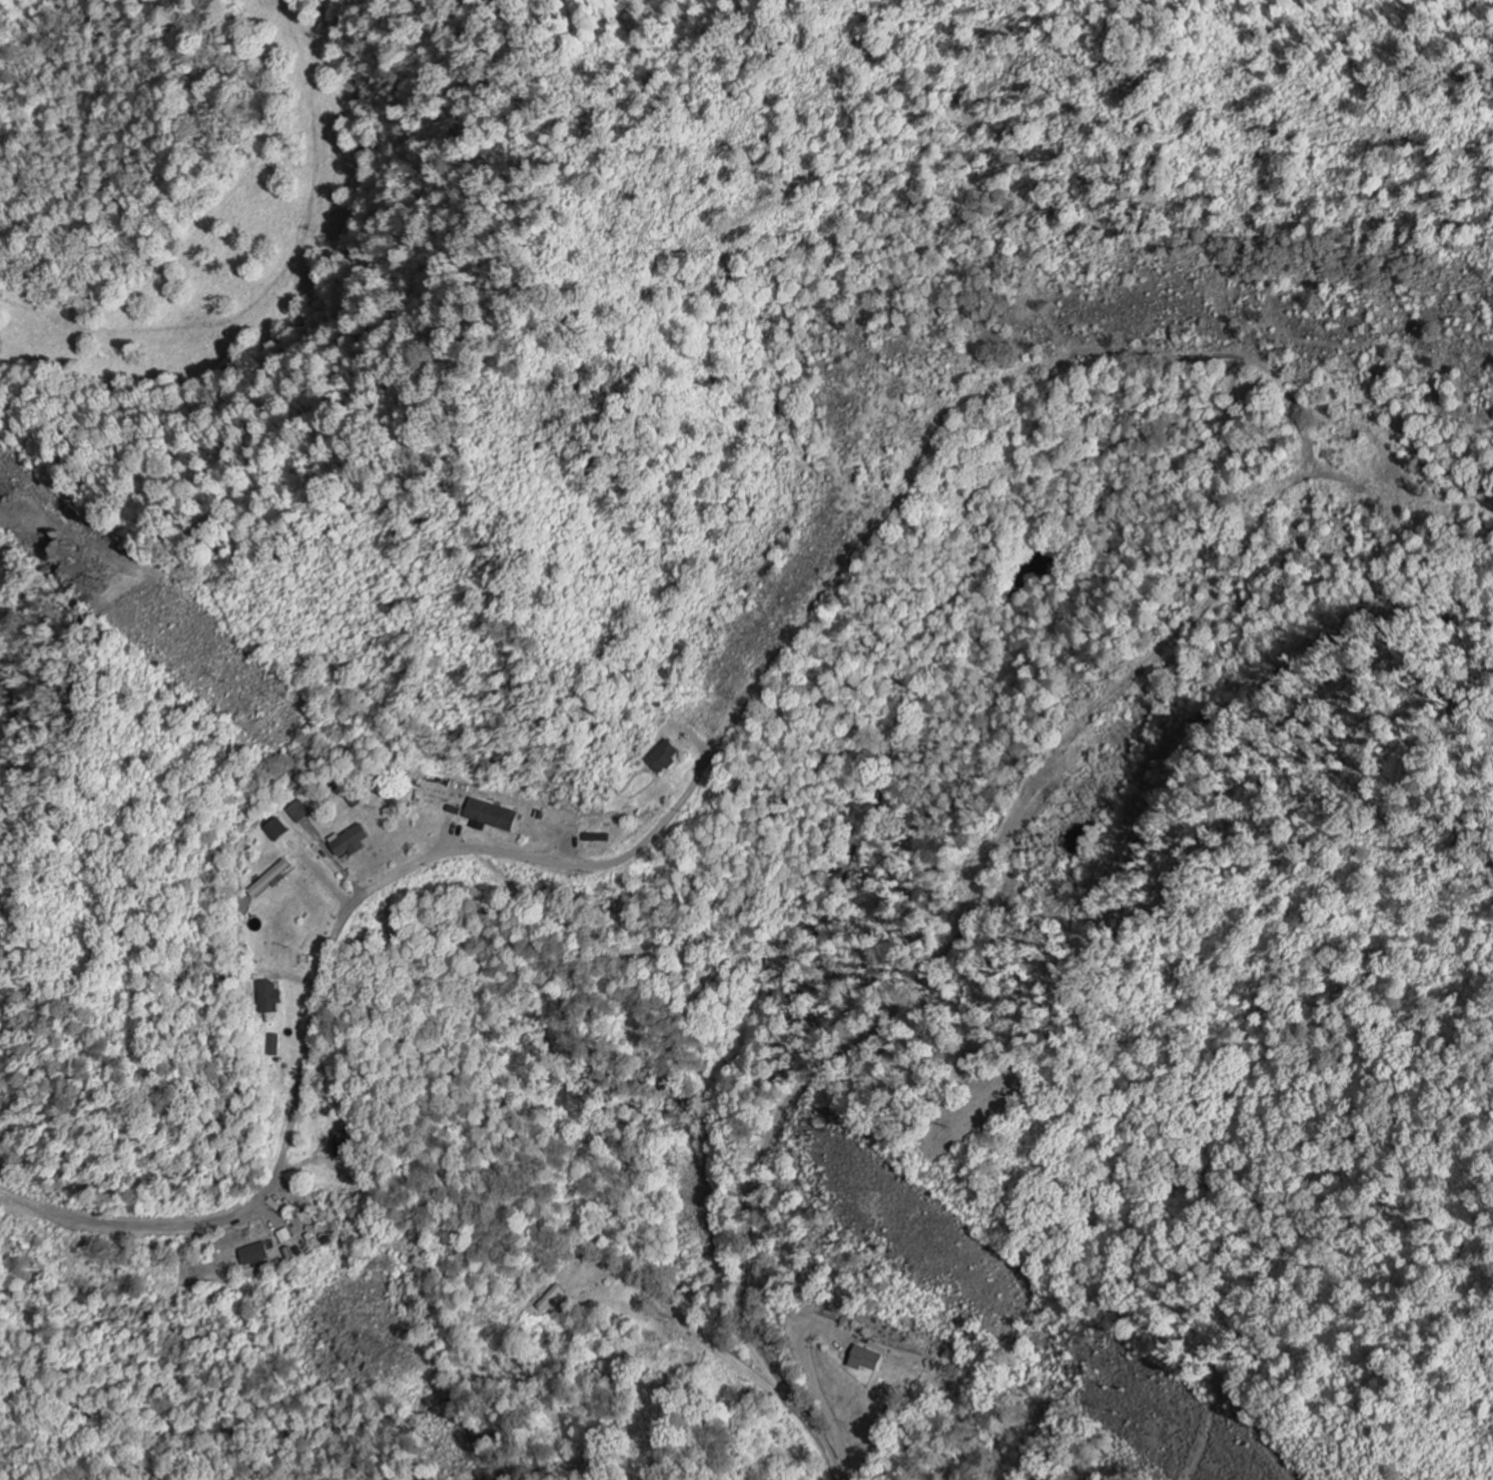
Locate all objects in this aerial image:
road: (890, 507)
power tower: (112, 587)
building: (666, 757)
road: (1045, 764)
building: (493, 816)
building: (279, 831)
building: (352, 842)
building: (275, 877)
road: (1086, 988)
building: (272, 997)
building: (276, 1046)
road: (293, 1110)
building: (286, 1237)
building: (258, 1256)
road: (745, 1302)
building: (869, 1360)

